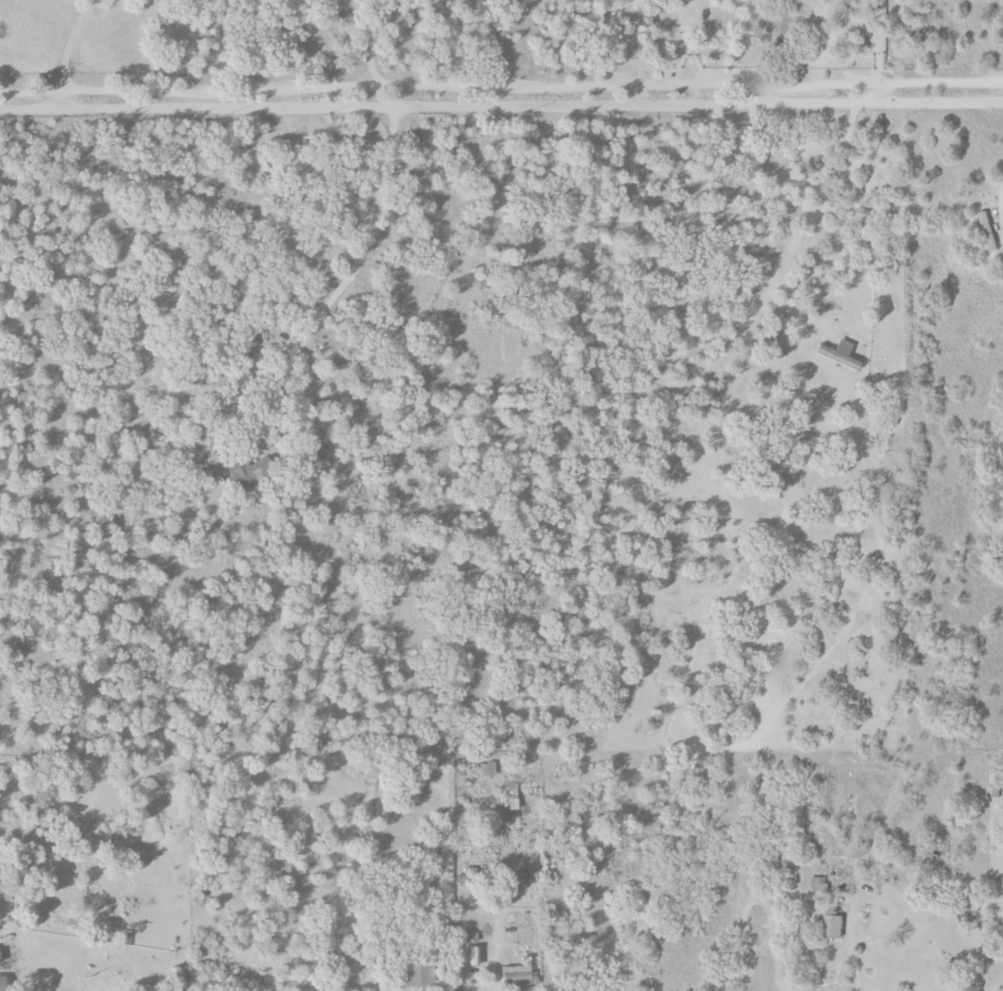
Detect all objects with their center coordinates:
road: (692, 41)
road: (66, 45)
road: (846, 83)
road: (374, 87)
road: (30, 90)
road: (501, 105)
building: (989, 231)
building: (838, 354)
building: (510, 797)
building: (524, 874)
building: (820, 883)
building: (834, 925)
building: (470, 937)
road: (848, 948)
road: (490, 955)
building: (474, 957)
building: (518, 973)
building: (2, 983)

